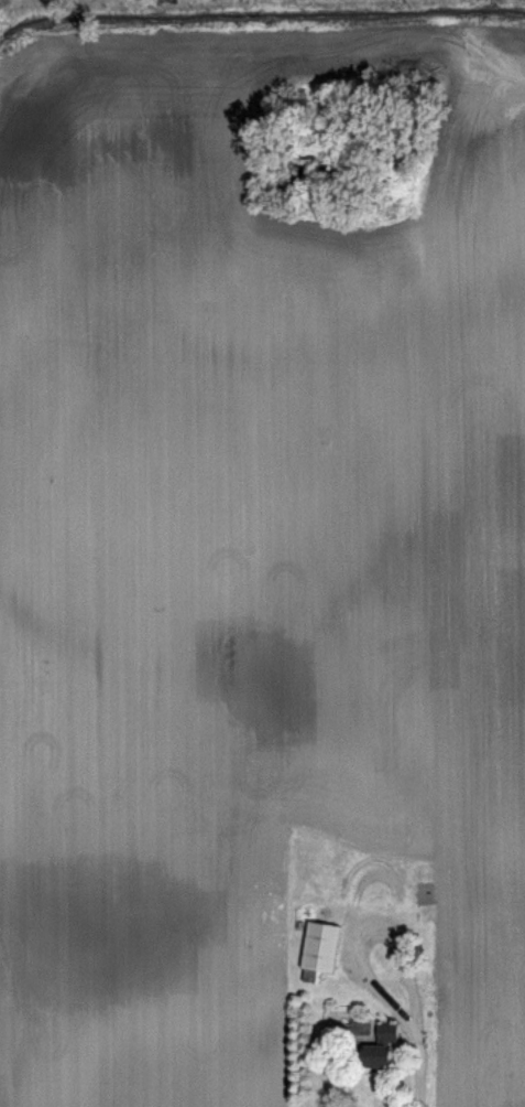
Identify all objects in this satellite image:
building: (319, 950)
road: (385, 979)
building: (379, 1046)
road: (414, 1065)

